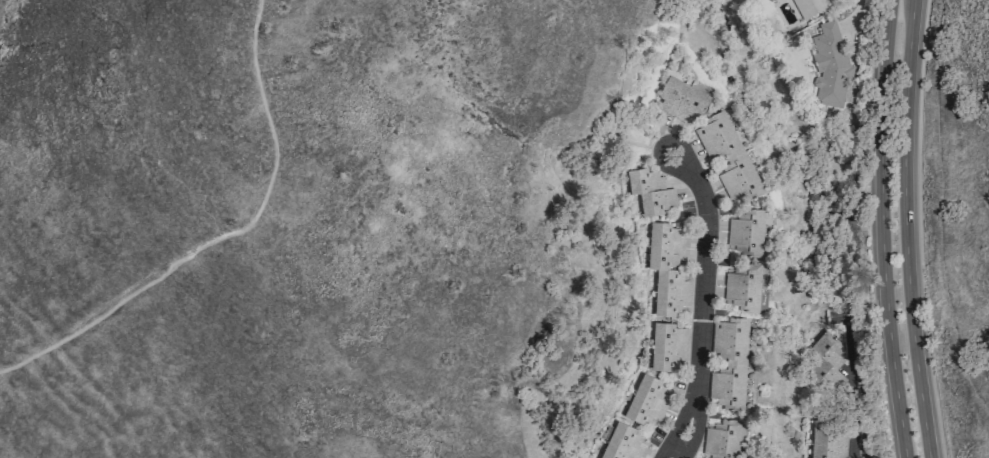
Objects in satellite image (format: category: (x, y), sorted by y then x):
building: (809, 7)
building: (830, 64)
building: (681, 100)
building: (728, 158)
building: (649, 191)
road: (881, 229)
road: (905, 229)
building: (746, 232)
road: (224, 236)
building: (667, 269)
building: (743, 288)
road: (703, 300)
building: (669, 347)
building: (826, 363)
building: (728, 365)
road: (856, 378)
building: (646, 401)
building: (722, 439)
building: (827, 442)
building: (622, 443)

